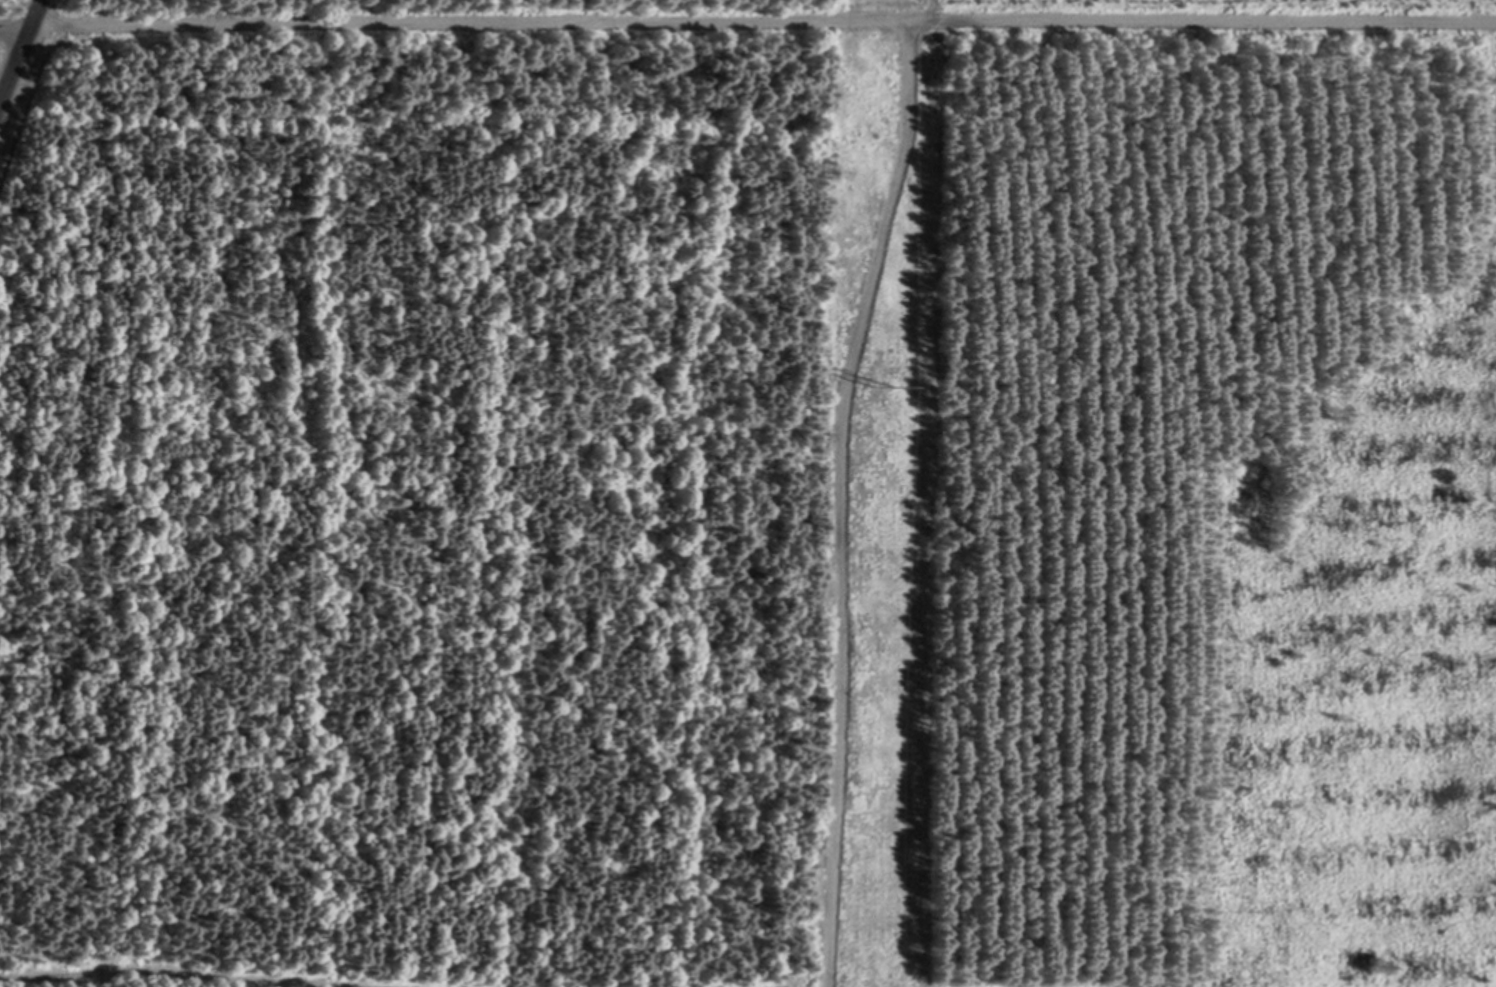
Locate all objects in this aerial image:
road: (929, 9)
road: (759, 19)
road: (11, 30)
road: (17, 44)
power tower: (881, 383)
road: (846, 499)
road: (204, 968)

